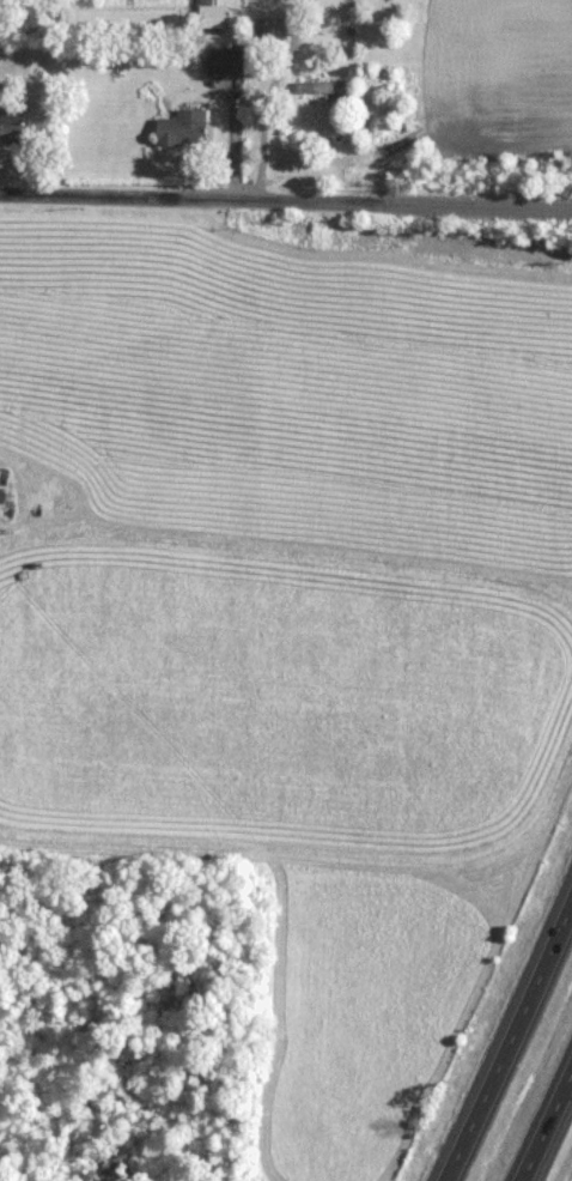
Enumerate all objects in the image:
building: (213, 13)
building: (270, 30)
building: (226, 60)
building: (325, 86)
road: (270, 98)
building: (13, 123)
building: (184, 127)
road: (236, 147)
road: (285, 201)
road: (506, 1038)
road: (546, 1124)

